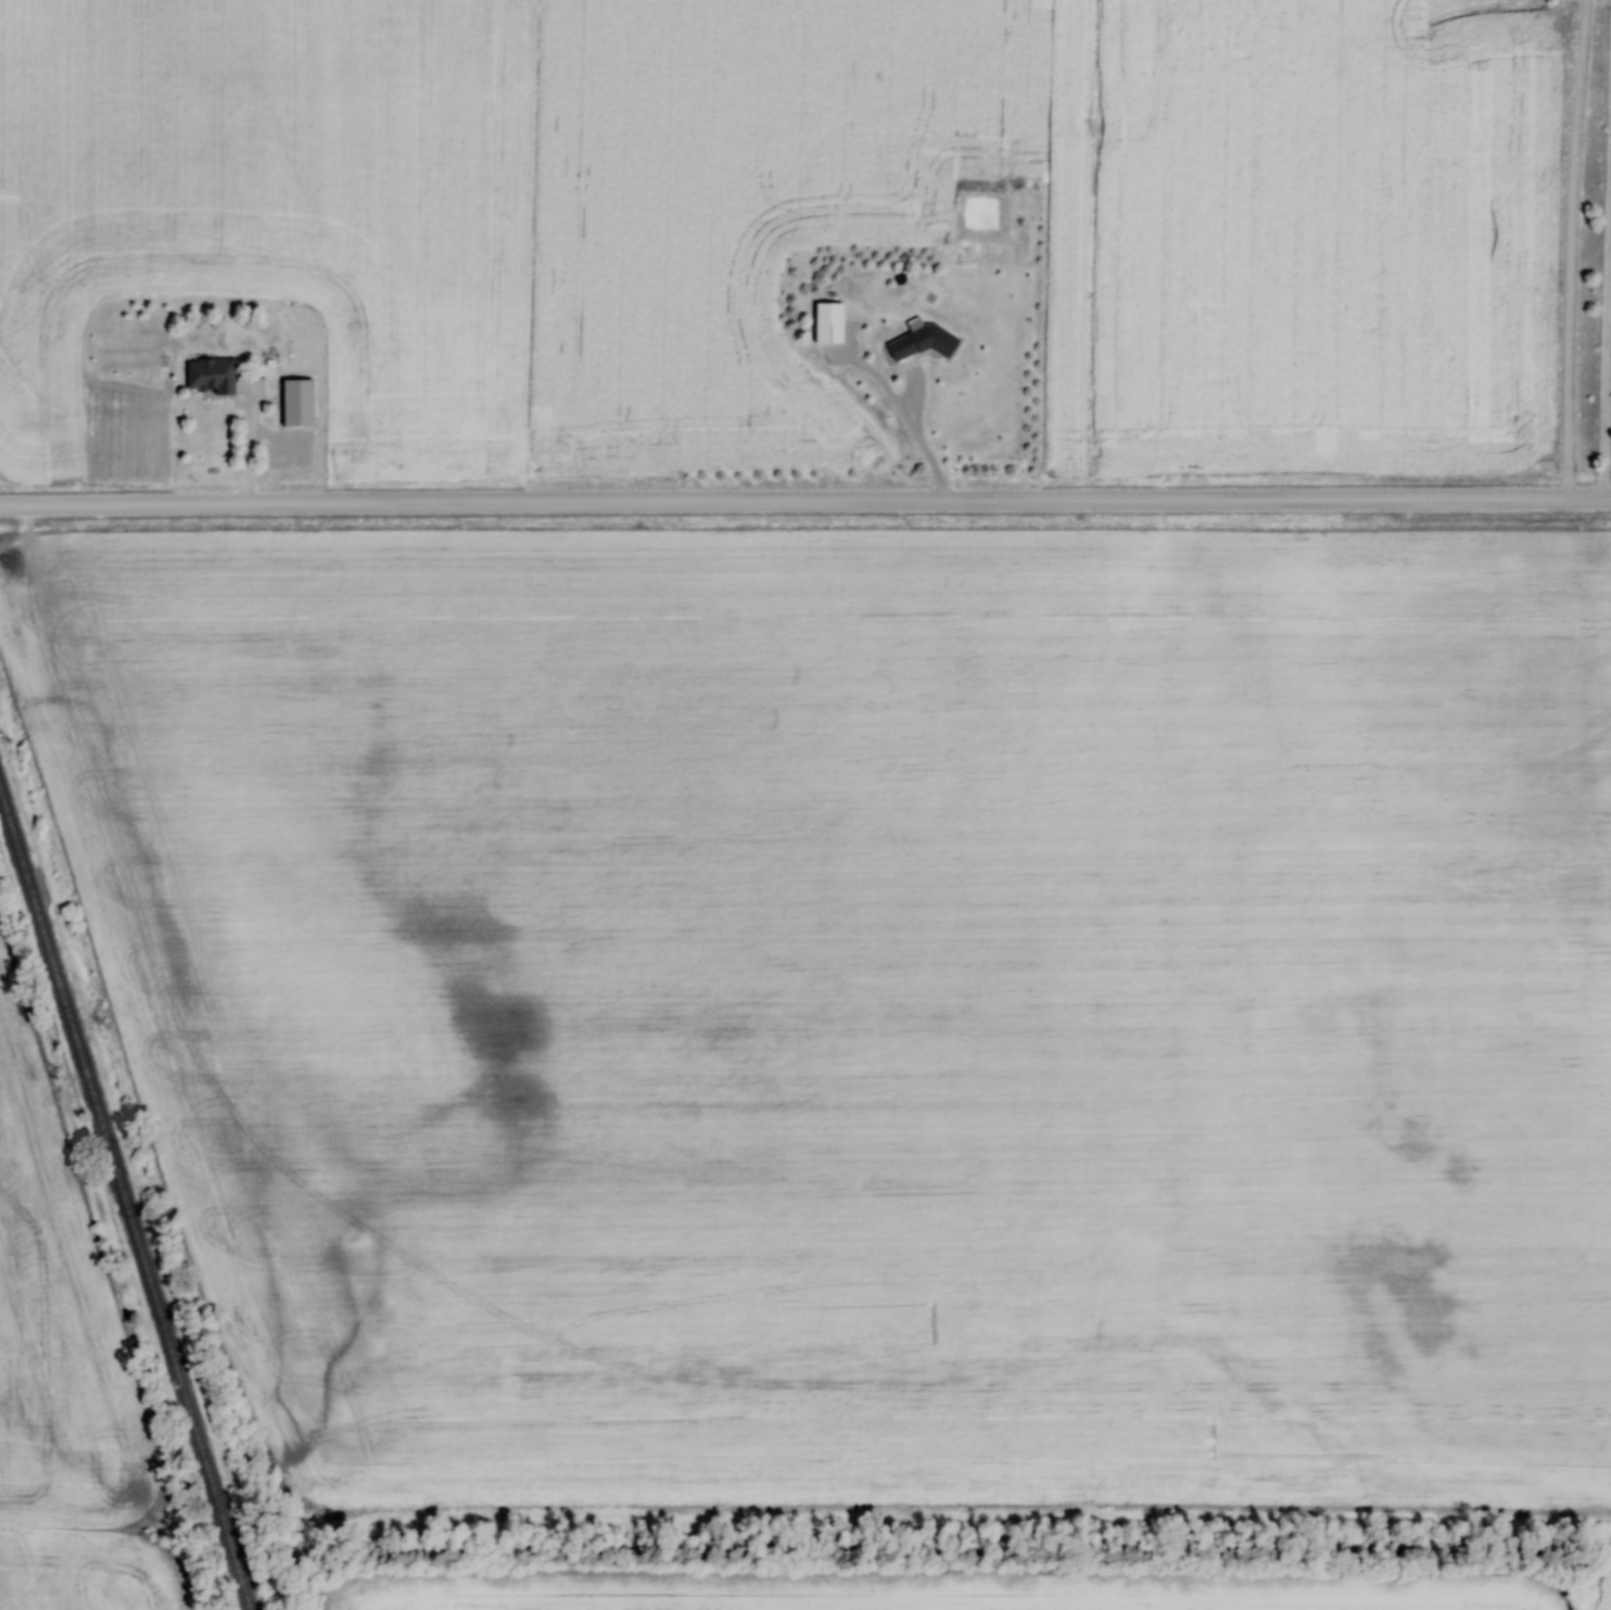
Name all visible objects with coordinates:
park: (1600, 250)
building: (827, 324)
building: (919, 342)
building: (212, 376)
building: (290, 405)
road: (919, 436)
road: (231, 440)
road: (1071, 497)
road: (310, 502)
road: (43, 503)
railway: (124, 1205)

